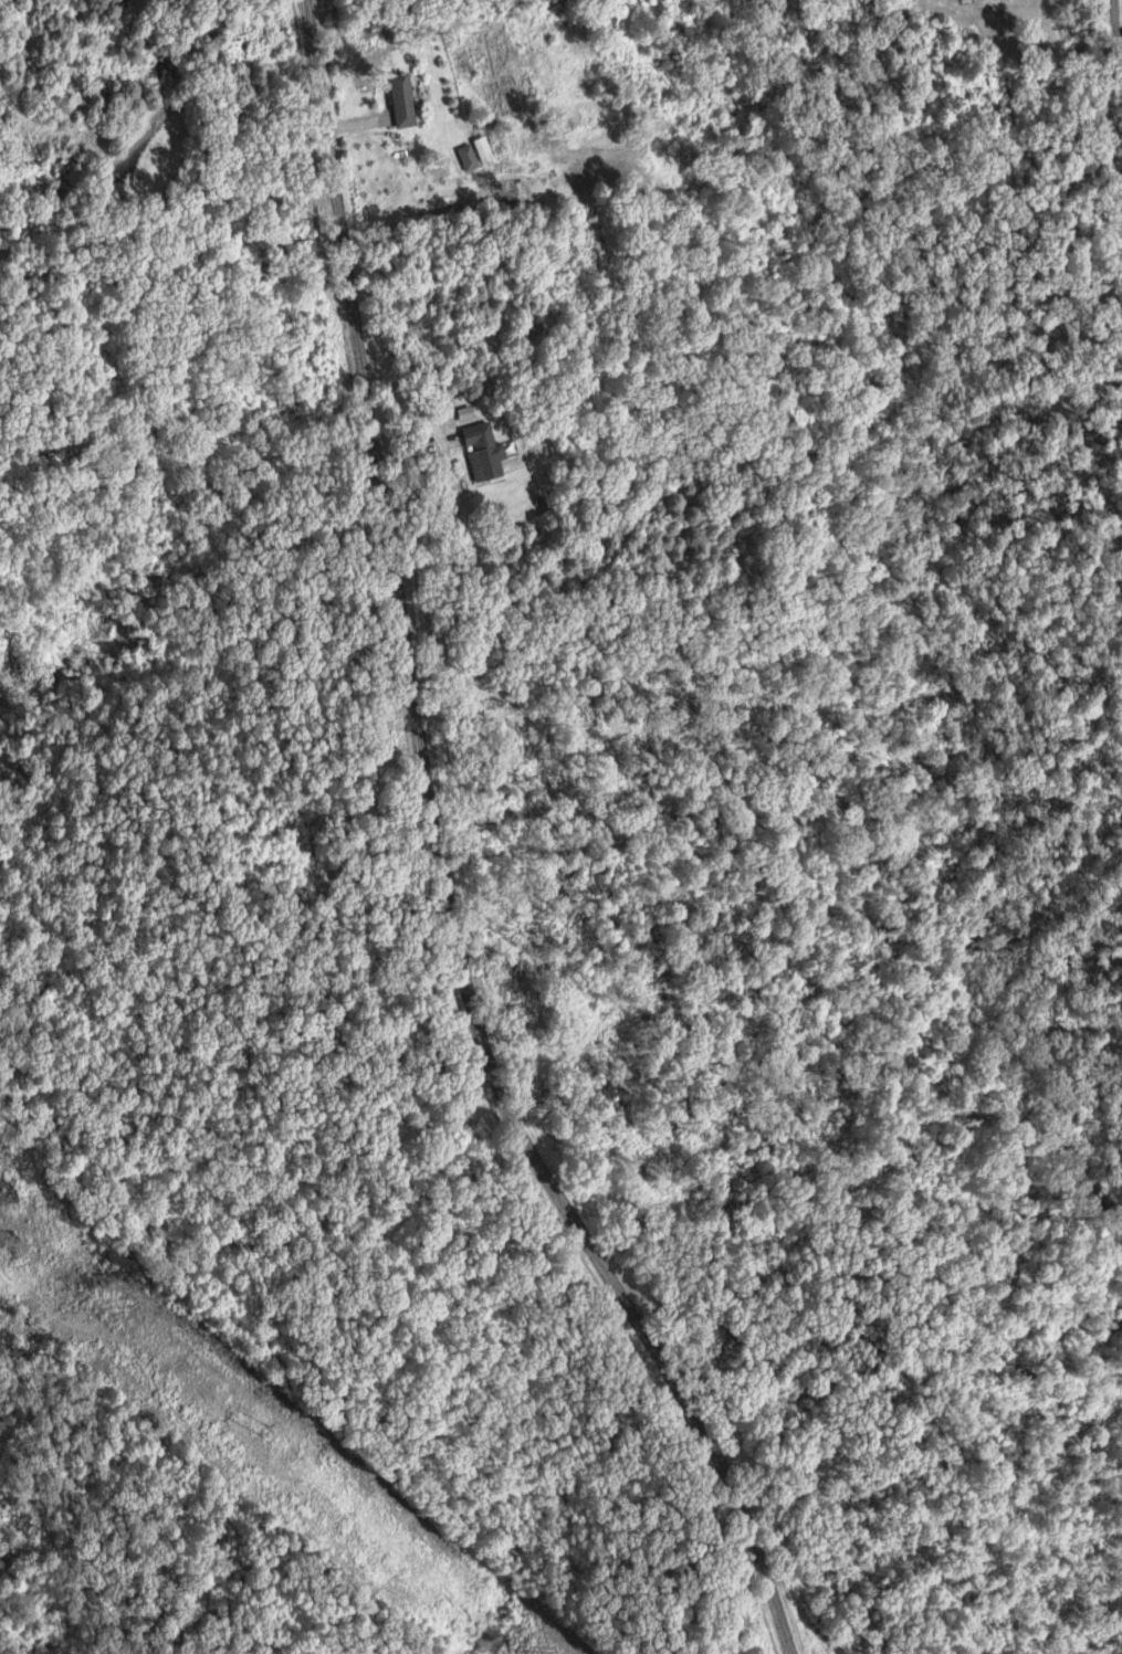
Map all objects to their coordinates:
building: (401, 99)
building: (469, 157)
building: (484, 451)
road: (434, 862)
power tower: (264, 1434)

